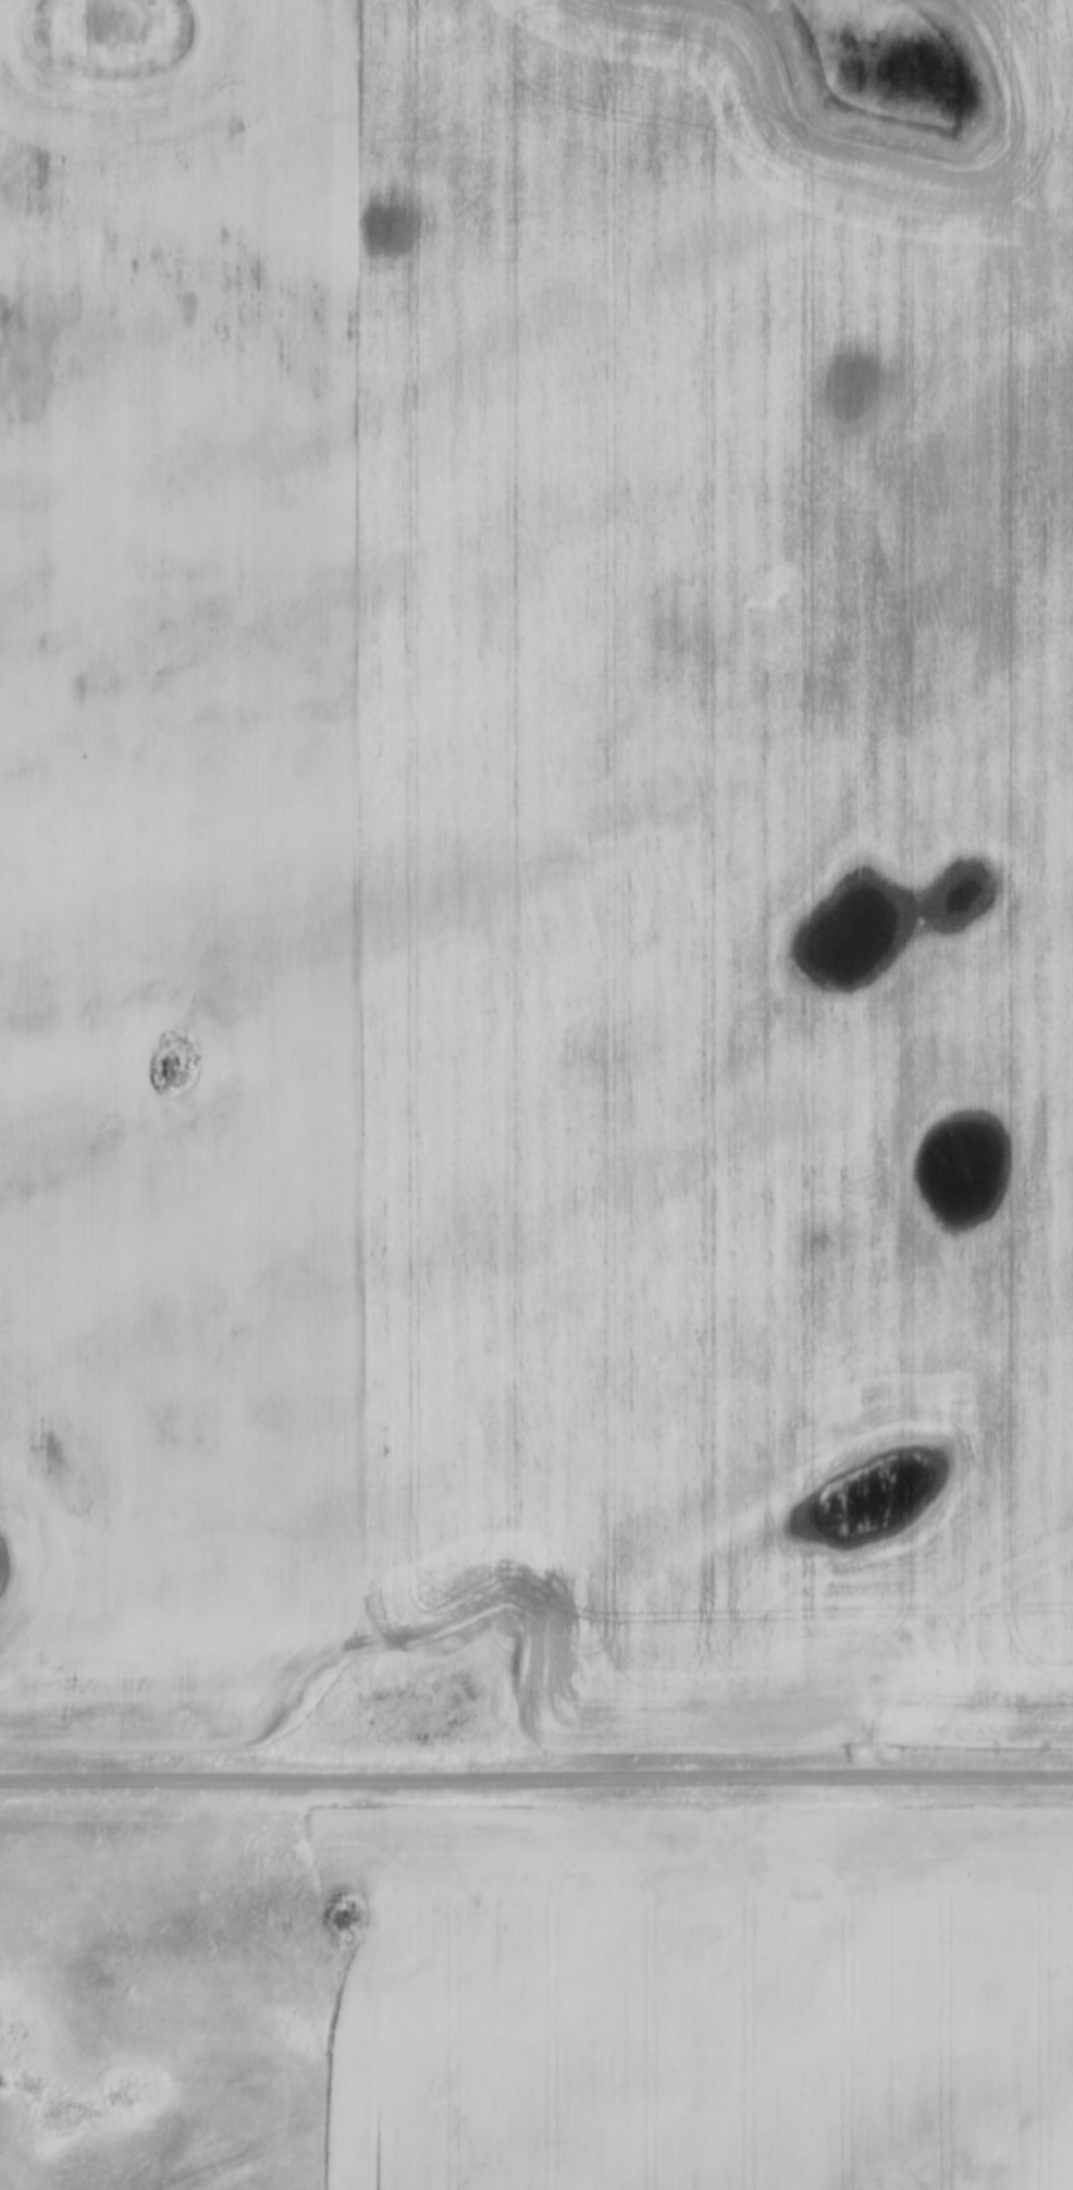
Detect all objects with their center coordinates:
road: (535, 1776)

